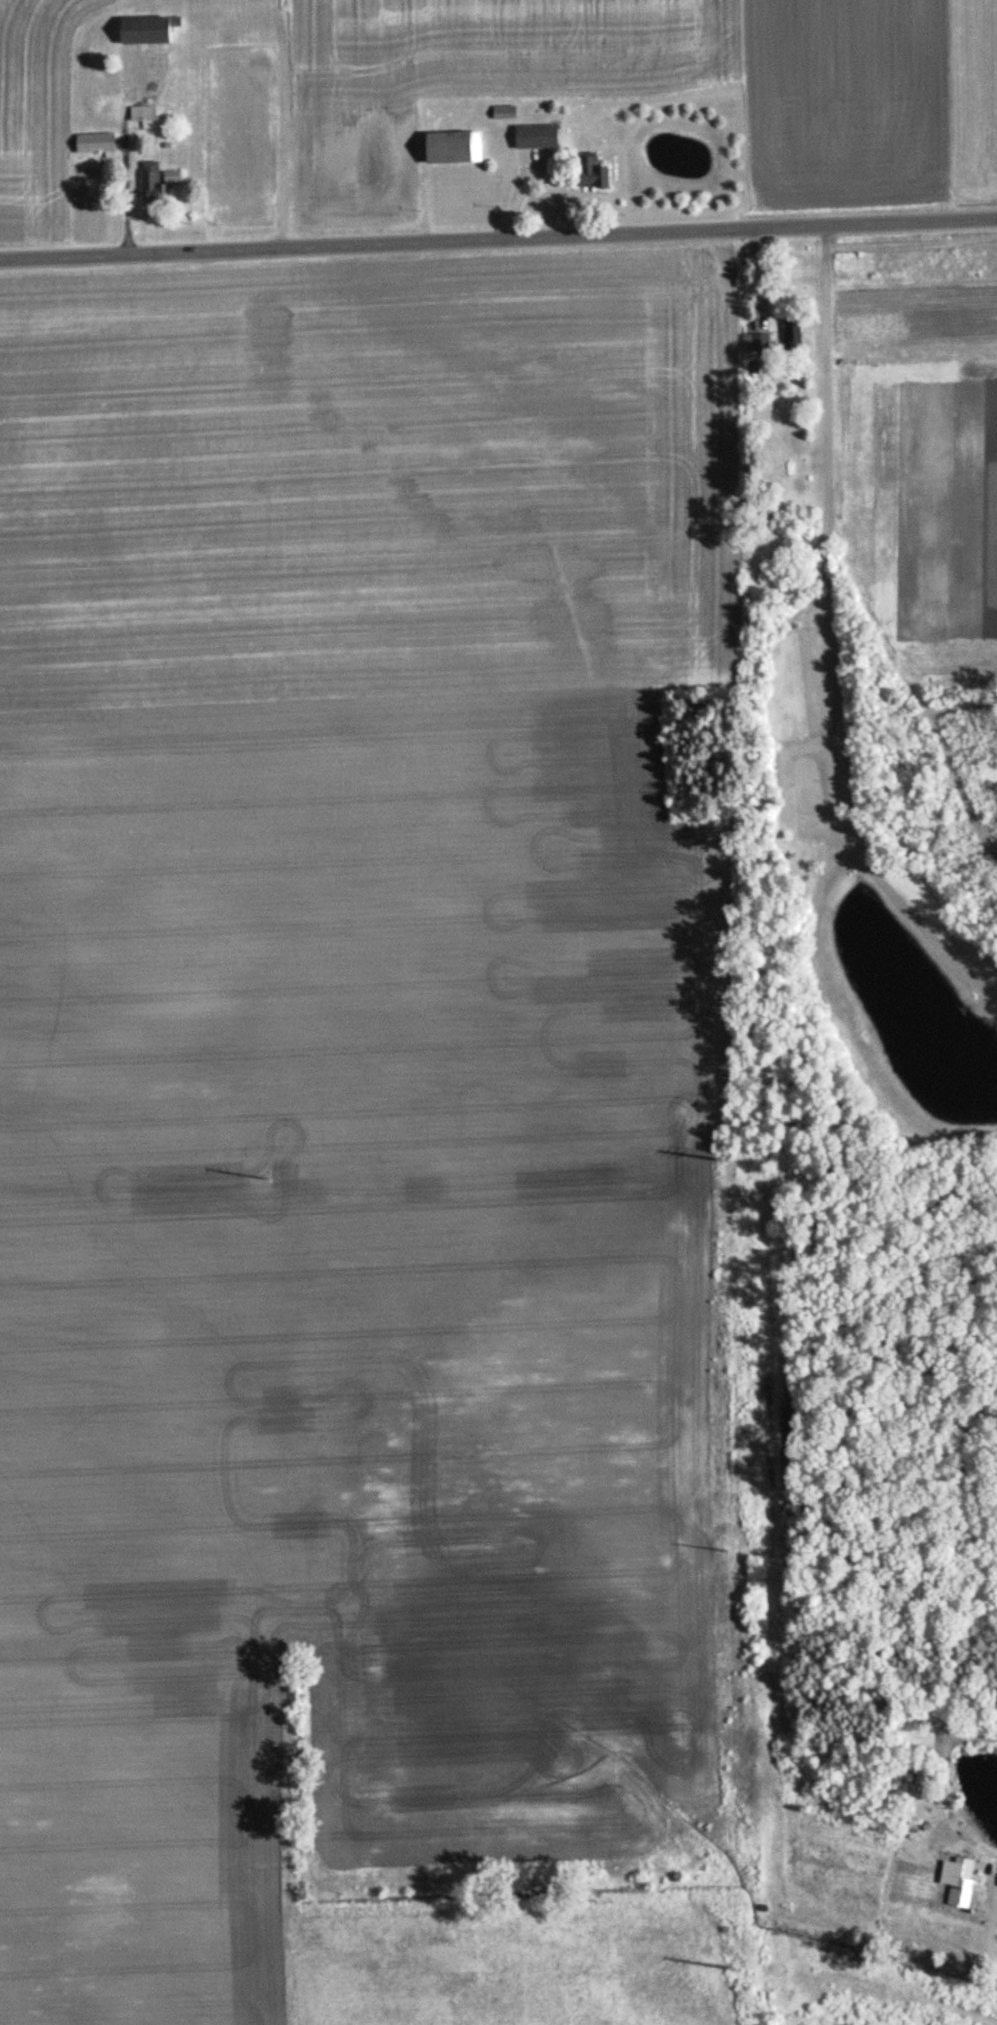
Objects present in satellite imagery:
building: (136, 31)
building: (502, 112)
building: (143, 117)
building: (532, 137)
building: (94, 145)
building: (449, 148)
building: (585, 173)
building: (168, 178)
building: (150, 186)
road: (498, 241)
building: (793, 337)
building: (756, 343)
power tower: (721, 1160)
power tower: (267, 1180)
power tower: (728, 1552)
building: (955, 1880)
road: (991, 1933)
power tower: (735, 1969)

